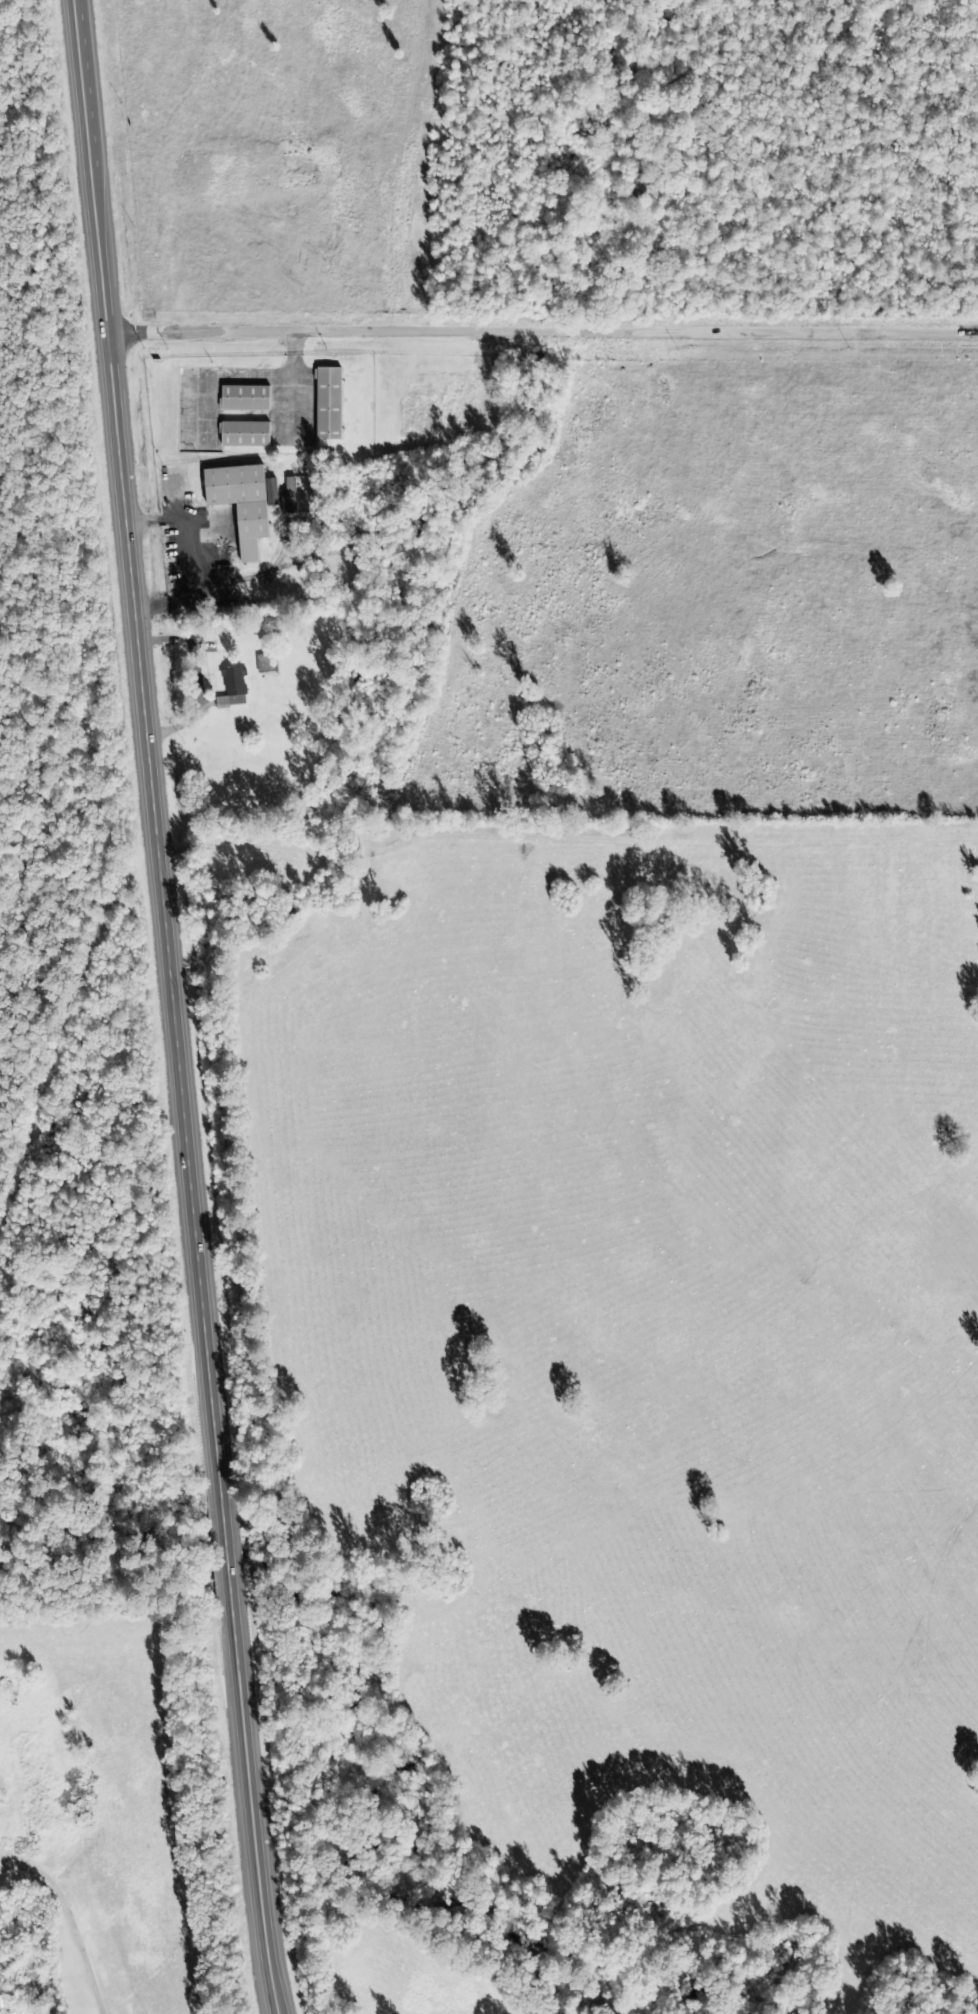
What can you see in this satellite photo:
road: (543, 332)
building: (235, 496)
building: (263, 662)
building: (229, 686)
road: (566, 845)
road: (172, 1008)
building: (30, 2012)

